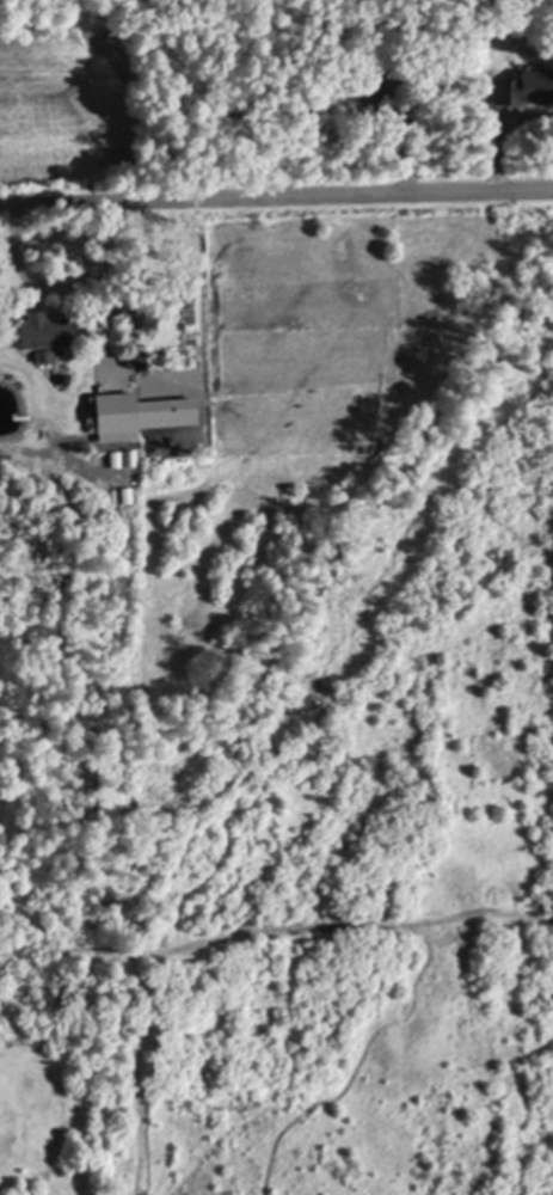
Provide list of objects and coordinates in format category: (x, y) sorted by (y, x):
building: (524, 88)
building: (373, 96)
road: (276, 192)
road: (61, 286)
building: (48, 329)
building: (44, 356)
building: (136, 358)
building: (137, 413)

